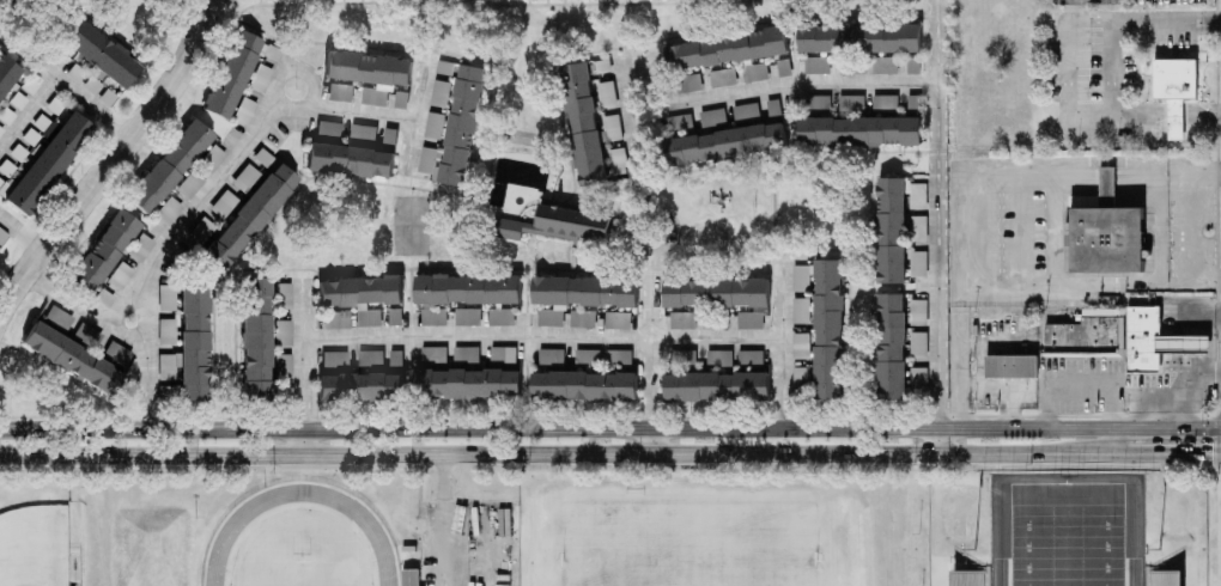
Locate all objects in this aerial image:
building: (859, 38)
building: (727, 49)
building: (101, 54)
building: (818, 66)
building: (852, 66)
building: (886, 66)
building: (265, 67)
building: (445, 68)
building: (369, 73)
building: (755, 73)
building: (231, 74)
road: (1111, 74)
road: (1069, 75)
building: (723, 79)
road: (784, 80)
road: (57, 83)
building: (688, 84)
building: (1176, 90)
building: (11, 91)
building: (340, 92)
building: (441, 94)
building: (608, 94)
road: (630, 94)
building: (402, 99)
building: (818, 103)
building: (886, 103)
building: (852, 104)
road: (342, 105)
building: (245, 111)
road: (414, 111)
building: (747, 112)
building: (713, 118)
building: (680, 123)
building: (584, 124)
building: (435, 126)
building: (329, 128)
building: (613, 128)
building: (457, 132)
building: (861, 132)
building: (364, 133)
building: (390, 136)
building: (725, 145)
building: (40, 155)
building: (350, 160)
road: (114, 161)
building: (619, 161)
building: (169, 166)
building: (251, 170)
building: (200, 172)
road: (1153, 173)
road: (1107, 175)
road: (1205, 176)
road: (217, 181)
building: (919, 196)
building: (224, 203)
building: (168, 210)
building: (249, 218)
road: (24, 225)
building: (561, 225)
road: (938, 226)
building: (919, 228)
road: (1191, 230)
building: (201, 231)
building: (892, 231)
building: (1107, 233)
building: (140, 248)
building: (105, 260)
building: (919, 264)
road: (971, 280)
road: (1207, 285)
building: (468, 289)
building: (717, 293)
building: (284, 295)
building: (581, 295)
building: (166, 297)
building: (360, 297)
road: (85, 307)
building: (802, 311)
building: (919, 312)
building: (395, 317)
building: (435, 317)
building: (468, 317)
building: (502, 317)
building: (55, 318)
road: (1205, 318)
building: (336, 319)
building: (583, 319)
building: (618, 321)
building: (684, 321)
building: (751, 321)
road: (654, 322)
building: (826, 323)
building: (166, 331)
building: (283, 331)
building: (87, 334)
building: (1088, 335)
road: (542, 336)
building: (256, 338)
building: (1155, 341)
gas station: (1155, 341)
building: (190, 343)
road: (783, 344)
building: (919, 344)
building: (802, 346)
road: (1204, 346)
building: (892, 347)
road: (147, 350)
building: (116, 355)
building: (435, 355)
building: (467, 355)
building: (504, 355)
road: (960, 355)
building: (552, 358)
building: (588, 358)
building: (752, 358)
building: (72, 359)
building: (334, 359)
building: (371, 359)
building: (396, 359)
building: (620, 359)
building: (684, 359)
building: (719, 359)
road: (1204, 365)
road: (302, 366)
building: (1012, 366)
building: (284, 367)
road: (1196, 377)
building: (802, 379)
building: (919, 379)
building: (468, 383)
building: (584, 386)
building: (717, 386)
building: (362, 387)
road: (1080, 387)
building: (169, 391)
building: (284, 392)
road: (1166, 396)
road: (327, 428)
road: (937, 428)
road: (654, 439)
road: (894, 452)
road: (326, 453)
road: (1178, 453)
traffic signals: (1210, 453)
road: (444, 519)
park: (1069, 531)
track: (376, 536)
park: (691, 539)
parking lot: (468, 543)
park: (35, 547)
park: (300, 573)
building: (411, 578)
building: (971, 579)
building: (1165, 579)

